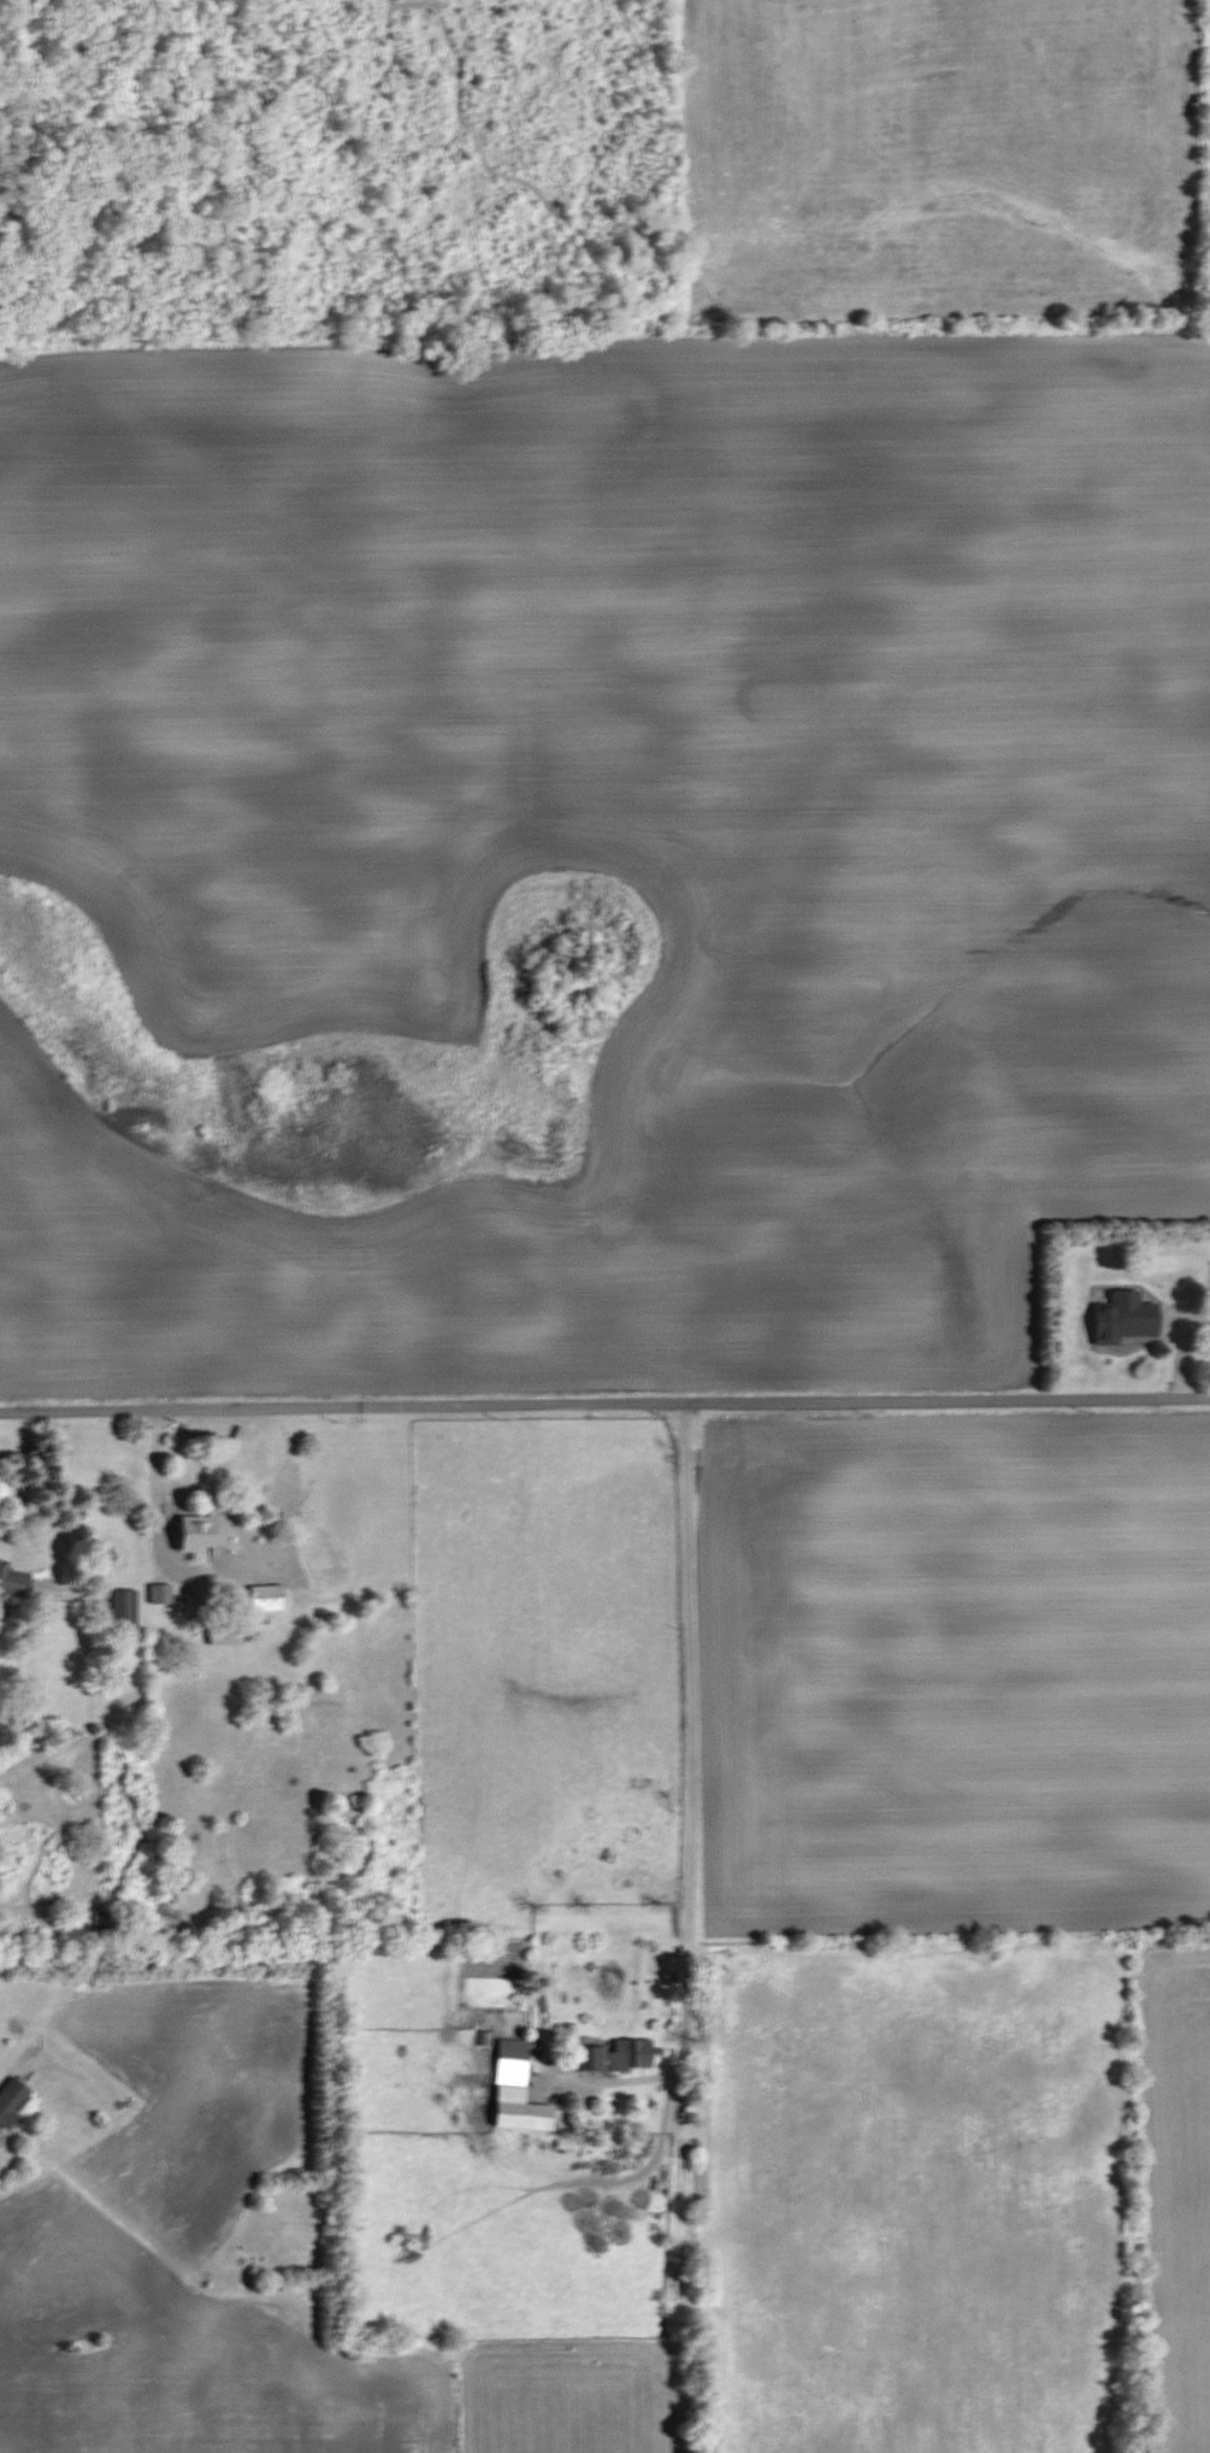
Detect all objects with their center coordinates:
building: (1126, 1317)
road: (604, 1399)
road: (51, 1511)
road: (154, 1514)
building: (202, 1536)
building: (14, 1582)
building: (161, 1593)
building: (267, 1596)
building: (124, 1608)
building: (226, 1634)
road: (690, 1778)
building: (102, 1918)
building: (631, 2054)
building: (591, 2058)
building: (517, 2090)
building: (12, 2100)

